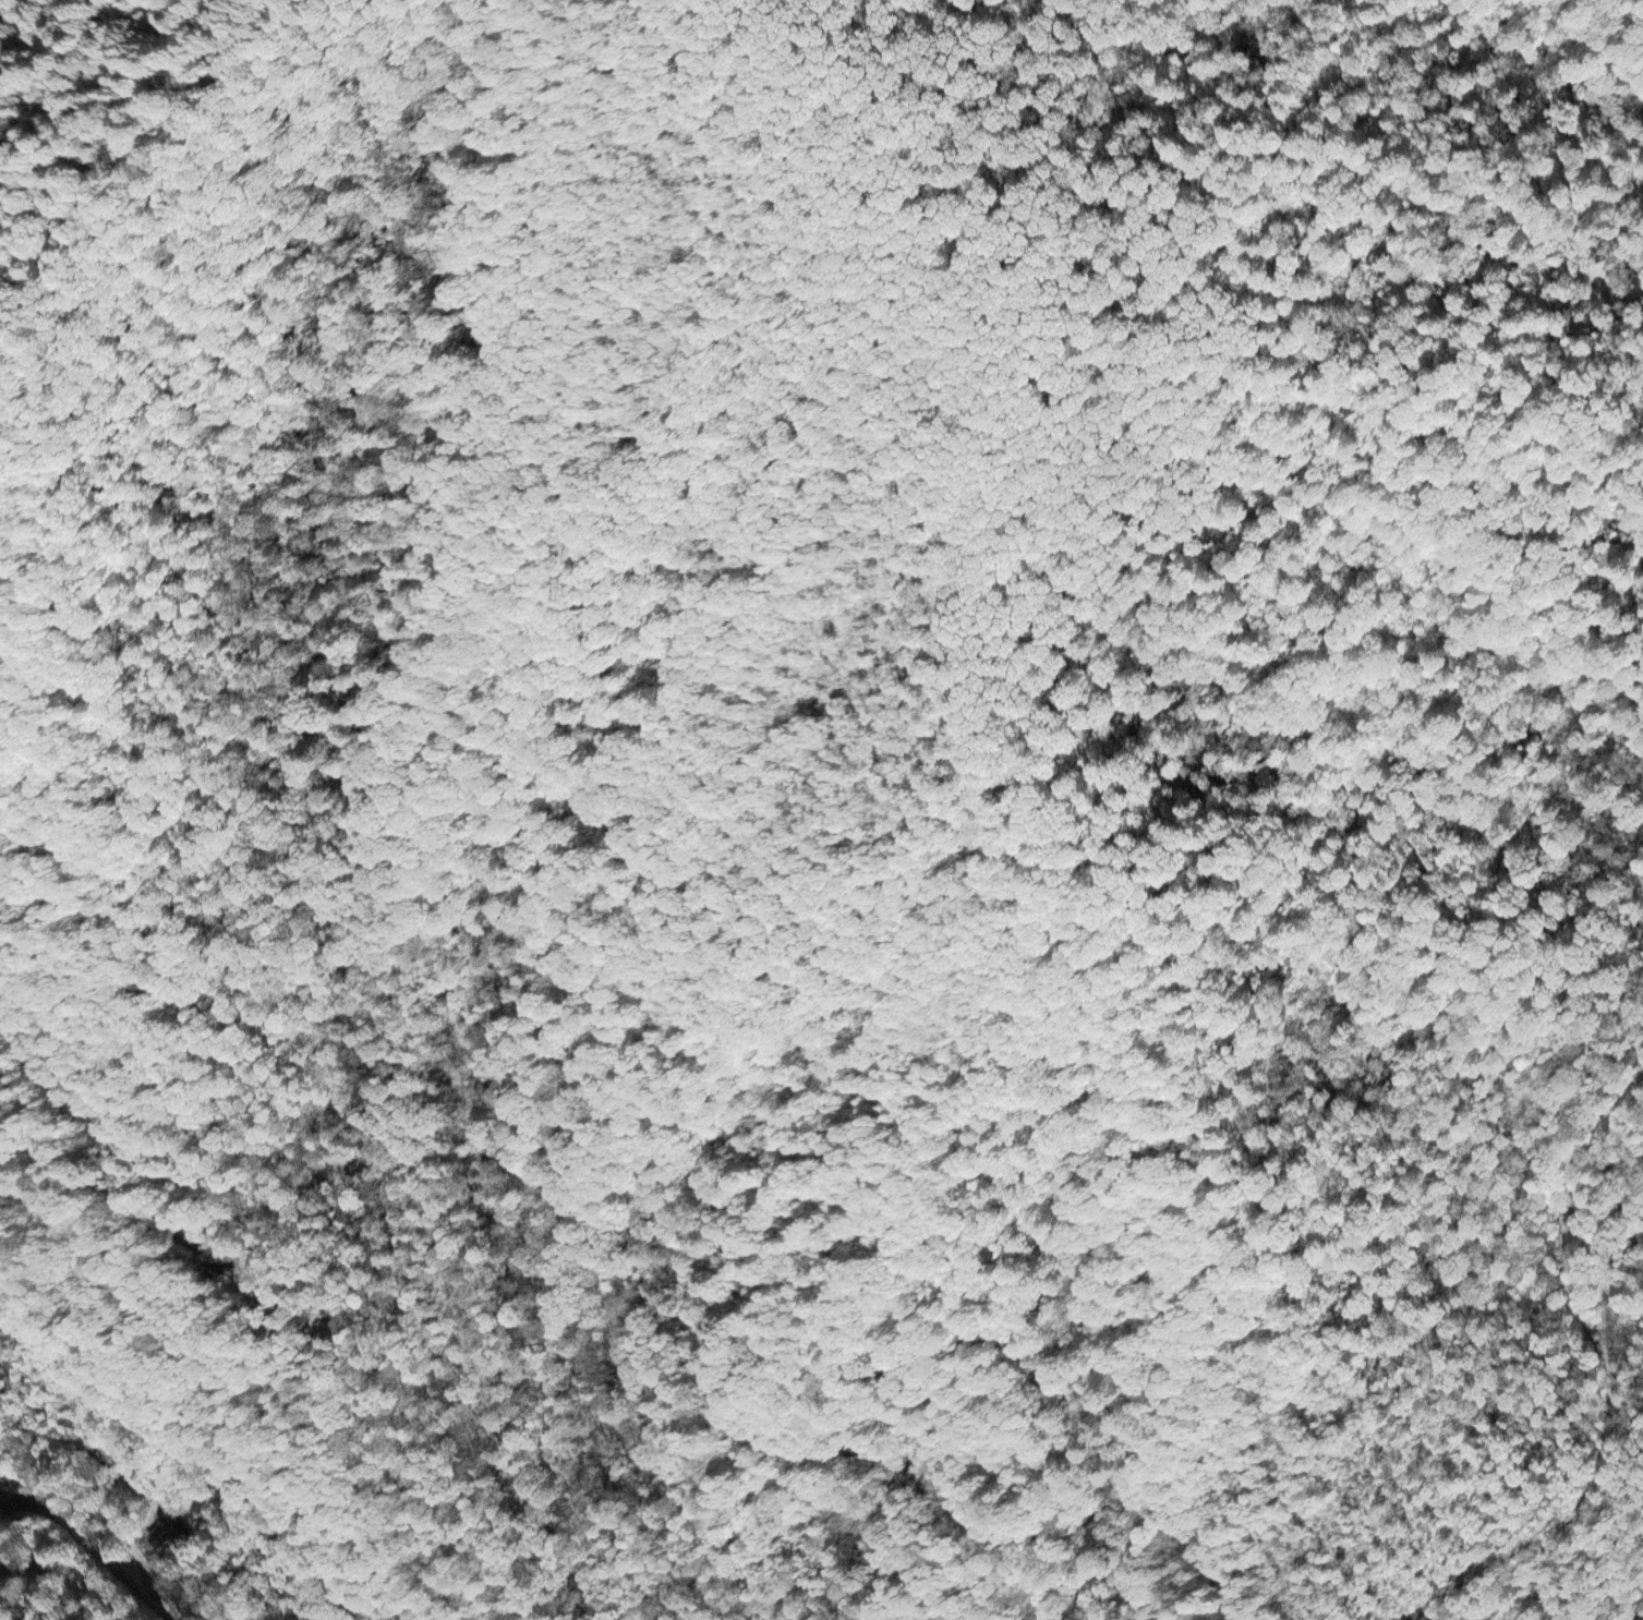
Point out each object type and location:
road: (640, 1240)
road: (1529, 1482)
road: (9, 1503)
road: (1632, 1522)
road: (93, 1543)

